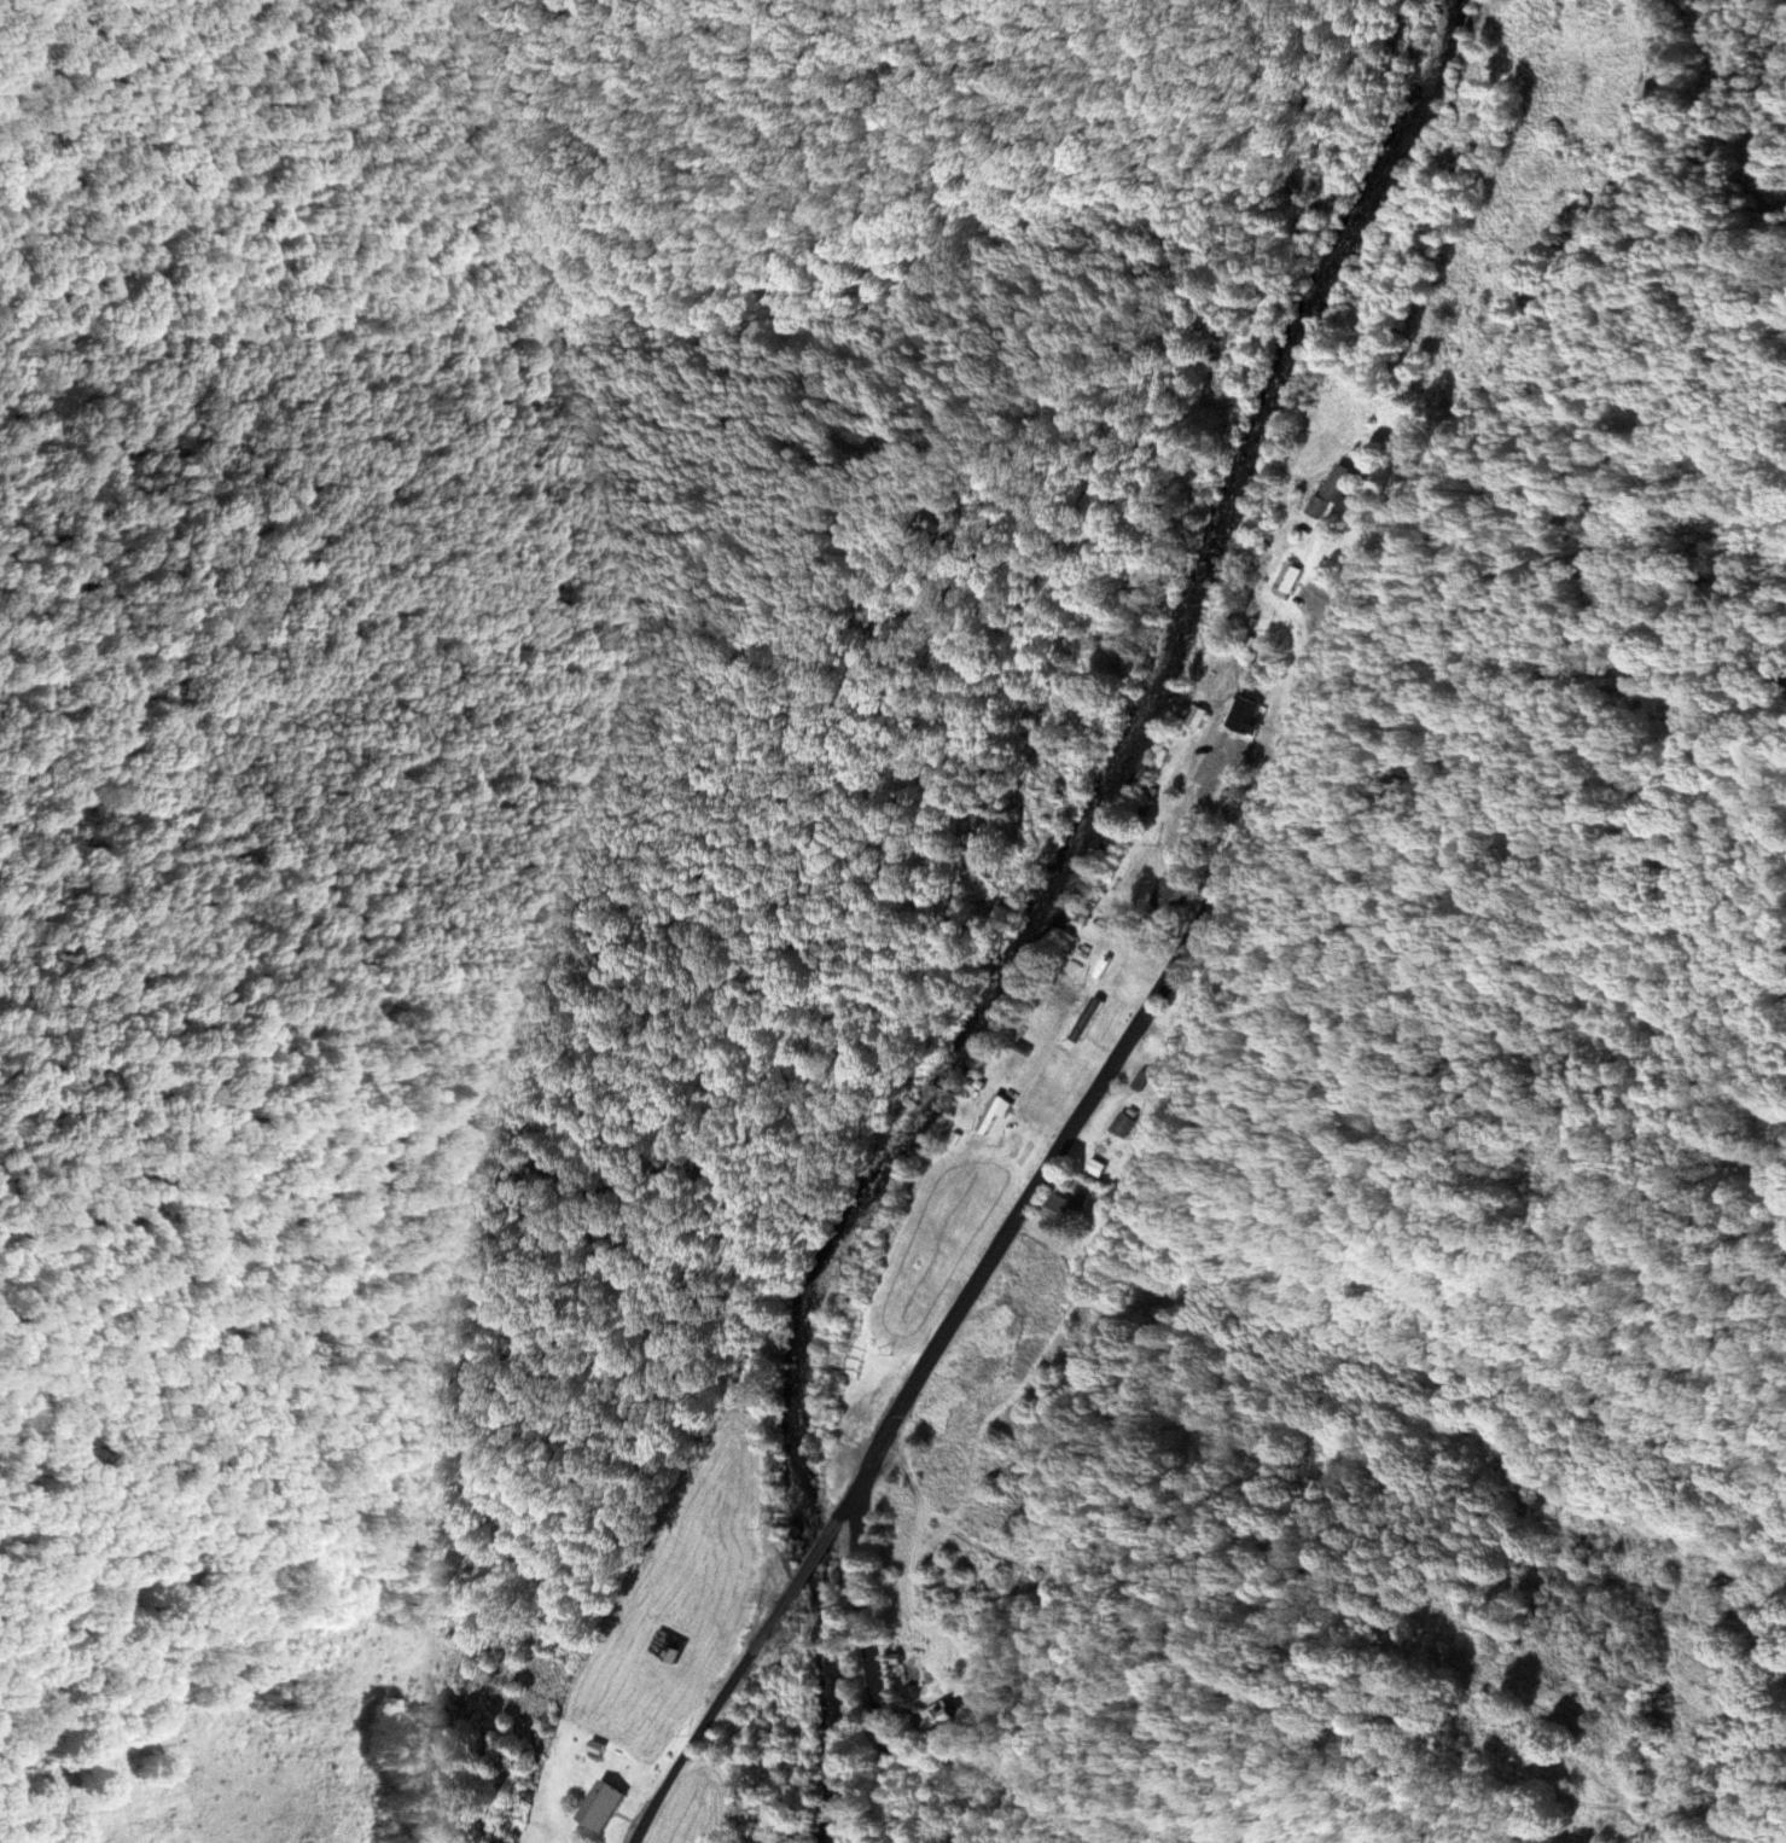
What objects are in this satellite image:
building: (1331, 490)
building: (1287, 580)
road: (1322, 661)
building: (1208, 775)
building: (1167, 894)
river: (1052, 907)
building: (1192, 1005)
building: (994, 1112)
building: (1129, 1128)
building: (1060, 1209)
road: (900, 1402)
road: (850, 1506)
road: (808, 1562)
building: (665, 1644)
road: (872, 1670)
building: (944, 1720)
road: (703, 1725)
building: (601, 1806)

